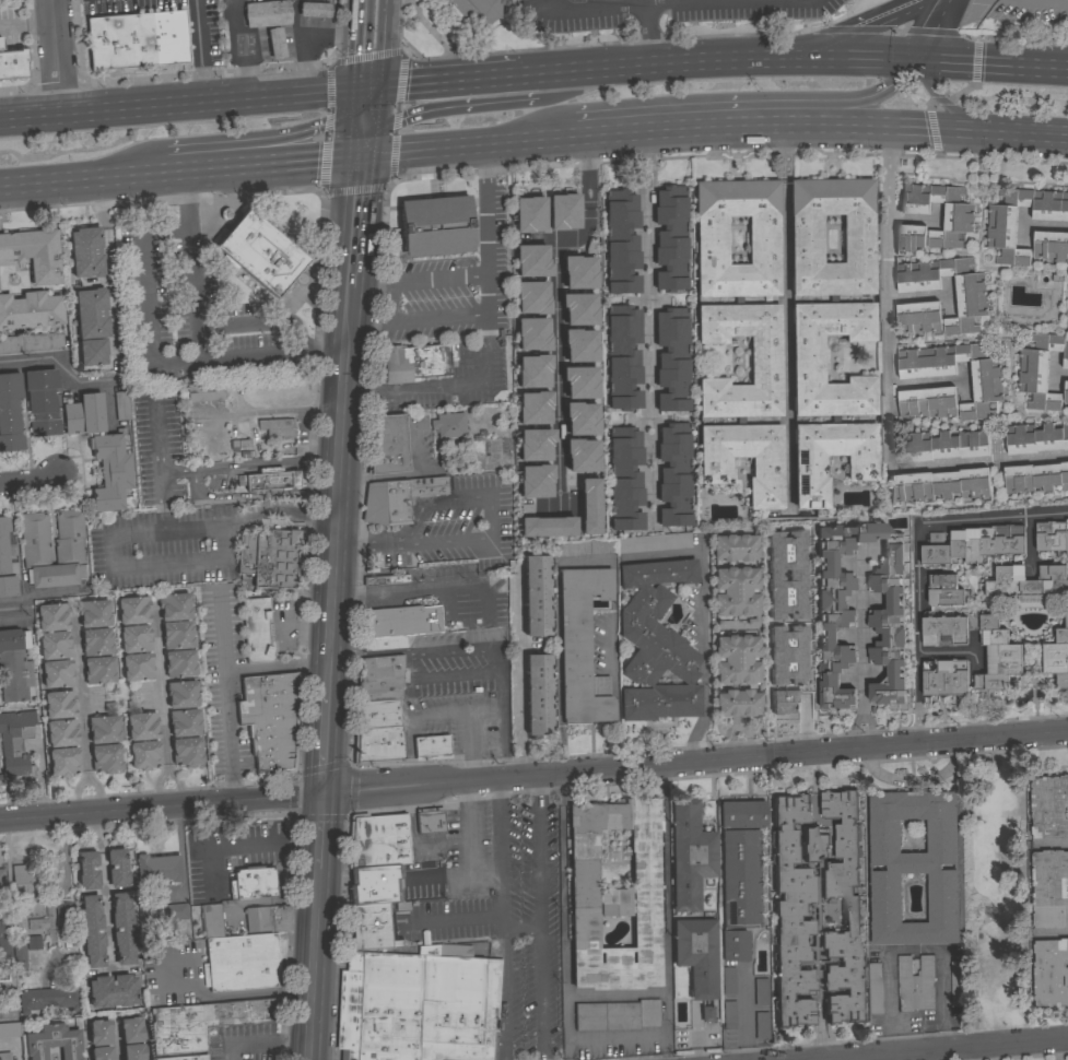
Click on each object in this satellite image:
building: (1, 0)
road: (778, 0)
road: (739, 1)
road: (664, 2)
road: (702, 2)
road: (550, 3)
road: (629, 3)
road: (1035, 3)
road: (588, 4)
road: (674, 4)
building: (314, 9)
building: (476, 11)
parking lot: (664, 12)
building: (265, 13)
road: (426, 28)
road: (842, 28)
road: (929, 28)
road: (649, 34)
building: (138, 40)
building: (275, 43)
gas station: (275, 43)
building: (0, 44)
road: (304, 44)
road: (352, 45)
road: (379, 45)
road: (586, 45)
road: (240, 51)
road: (201, 54)
road: (845, 57)
traffic signals: (922, 58)
road: (712, 59)
road: (57, 61)
road: (995, 62)
building: (12, 63)
road: (585, 68)
road: (445, 82)
traffic signals: (377, 90)
road: (363, 91)
traffic signals: (350, 92)
road: (365, 99)
road: (351, 101)
road: (505, 104)
road: (727, 107)
road: (951, 108)
road: (175, 110)
road: (368, 121)
road: (764, 126)
traffic signals: (937, 130)
road: (356, 131)
road: (1037, 134)
road: (230, 144)
road: (441, 145)
traffic signals: (360, 154)
road: (291, 162)
road: (483, 176)
road: (112, 184)
road: (357, 186)
building: (563, 211)
building: (529, 214)
building: (958, 223)
building: (435, 225)
building: (763, 229)
building: (1001, 234)
building: (670, 238)
building: (807, 239)
building: (909, 239)
building: (621, 243)
building: (1051, 245)
building: (85, 251)
road: (353, 252)
building: (34, 254)
building: (259, 254)
building: (531, 260)
road: (484, 262)
building: (578, 272)
road: (438, 280)
road: (371, 285)
road: (351, 287)
road: (196, 295)
building: (531, 297)
road: (391, 303)
road: (350, 304)
road: (556, 305)
building: (971, 305)
building: (578, 308)
building: (30, 310)
building: (90, 314)
road: (785, 314)
building: (918, 317)
road: (437, 318)
road: (647, 318)
road: (369, 320)
road: (257, 322)
road: (348, 328)
building: (532, 333)
building: (31, 342)
building: (579, 344)
road: (150, 345)
road: (486, 345)
building: (92, 352)
building: (623, 357)
building: (808, 358)
building: (672, 360)
building: (765, 361)
building: (415, 362)
road: (62, 367)
building: (1041, 369)
building: (532, 370)
building: (579, 381)
road: (889, 388)
building: (204, 391)
road: (416, 391)
building: (987, 391)
building: (1066, 392)
building: (42, 402)
building: (927, 402)
building: (121, 405)
building: (533, 407)
road: (272, 411)
building: (10, 413)
building: (580, 417)
building: (448, 426)
building: (278, 428)
road: (307, 437)
building: (1035, 438)
building: (239, 444)
building: (535, 444)
building: (386, 445)
building: (474, 446)
building: (943, 446)
building: (101, 452)
building: (582, 455)
road: (249, 463)
road: (157, 464)
building: (809, 466)
building: (715, 467)
building: (674, 474)
building: (1035, 478)
road: (32, 479)
building: (625, 479)
building: (269, 480)
building: (536, 480)
building: (940, 485)
road: (251, 493)
building: (397, 498)
building: (588, 507)
road: (337, 514)
building: (545, 527)
road: (131, 533)
building: (1052, 537)
road: (482, 541)
building: (654, 543)
building: (973, 544)
building: (585, 547)
building: (735, 547)
building: (35, 550)
building: (776, 556)
building: (269, 558)
road: (915, 558)
building: (7, 560)
building: (387, 563)
building: (384, 579)
building: (1029, 582)
road: (465, 586)
building: (944, 591)
building: (737, 592)
building: (536, 596)
building: (177, 606)
road: (15, 609)
building: (136, 610)
building: (96, 613)
building: (836, 613)
building: (55, 616)
road: (704, 616)
building: (777, 616)
building: (399, 621)
road: (305, 627)
building: (256, 629)
building: (944, 631)
building: (180, 636)
building: (138, 639)
building: (98, 641)
building: (382, 643)
building: (656, 643)
building: (57, 645)
building: (582, 647)
road: (860, 648)
road: (412, 651)
road: (803, 651)
building: (997, 656)
building: (1057, 657)
building: (736, 659)
building: (183, 664)
building: (14, 666)
road: (274, 666)
building: (140, 669)
building: (102, 672)
road: (517, 672)
building: (59, 674)
building: (379, 678)
building: (944, 678)
building: (781, 683)
road: (160, 690)
building: (185, 695)
building: (538, 695)
road: (80, 696)
road: (224, 699)
building: (737, 703)
building: (61, 705)
road: (501, 715)
road: (409, 718)
building: (270, 719)
building: (188, 723)
building: (144, 727)
building: (106, 731)
building: (376, 732)
building: (63, 733)
building: (15, 743)
road: (326, 743)
road: (474, 744)
building: (432, 747)
building: (190, 753)
building: (148, 756)
building: (109, 759)
building: (66, 763)
road: (166, 776)
road: (533, 776)
building: (1, 777)
road: (37, 777)
road: (74, 793)
road: (97, 793)
traffic signals: (324, 794)
building: (1049, 808)
building: (742, 814)
building: (430, 821)
road: (320, 829)
road: (95, 832)
building: (377, 840)
building: (814, 844)
road: (1052, 844)
road: (244, 845)
road: (500, 847)
road: (202, 848)
road: (536, 852)
road: (467, 855)
building: (690, 855)
building: (116, 867)
building: (914, 867)
building: (157, 868)
building: (87, 870)
road: (211, 871)
road: (484, 875)
building: (2, 879)
building: (26, 880)
building: (253, 882)
building: (375, 885)
road: (62, 887)
building: (1049, 888)
building: (738, 891)
park: (996, 893)
building: (614, 895)
road: (979, 895)
road: (665, 898)
building: (401, 906)
building: (62, 910)
road: (105, 910)
building: (173, 911)
building: (790, 915)
building: (850, 915)
road: (481, 917)
road: (561, 917)
building: (267, 918)
building: (210, 921)
building: (17, 923)
building: (37, 923)
building: (371, 927)
building: (121, 928)
building: (92, 930)
road: (1051, 934)
building: (815, 935)
building: (35, 942)
building: (4, 943)
road: (913, 949)
building: (20, 952)
building: (696, 955)
building: (244, 962)
road: (314, 963)
building: (1051, 973)
building: (728, 980)
building: (915, 984)
building: (958, 984)
building: (873, 988)
building: (112, 990)
building: (761, 991)
road: (203, 993)
road: (504, 993)
road: (538, 996)
building: (48, 999)
building: (416, 1005)
building: (707, 1014)
building: (729, 1014)
building: (617, 1015)
road: (743, 1017)
building: (204, 1022)
building: (762, 1025)
building: (9, 1029)
building: (131, 1029)
building: (99, 1033)
road: (615, 1035)
road: (263, 1041)
road: (15, 1043)
building: (51, 1043)
road: (666, 1046)
road: (942, 1049)
building: (133, 1051)
building: (101, 1053)
road: (975, 1053)
road: (939, 1055)
building: (4, 1056)
building: (186, 1058)
road: (858, 1058)

